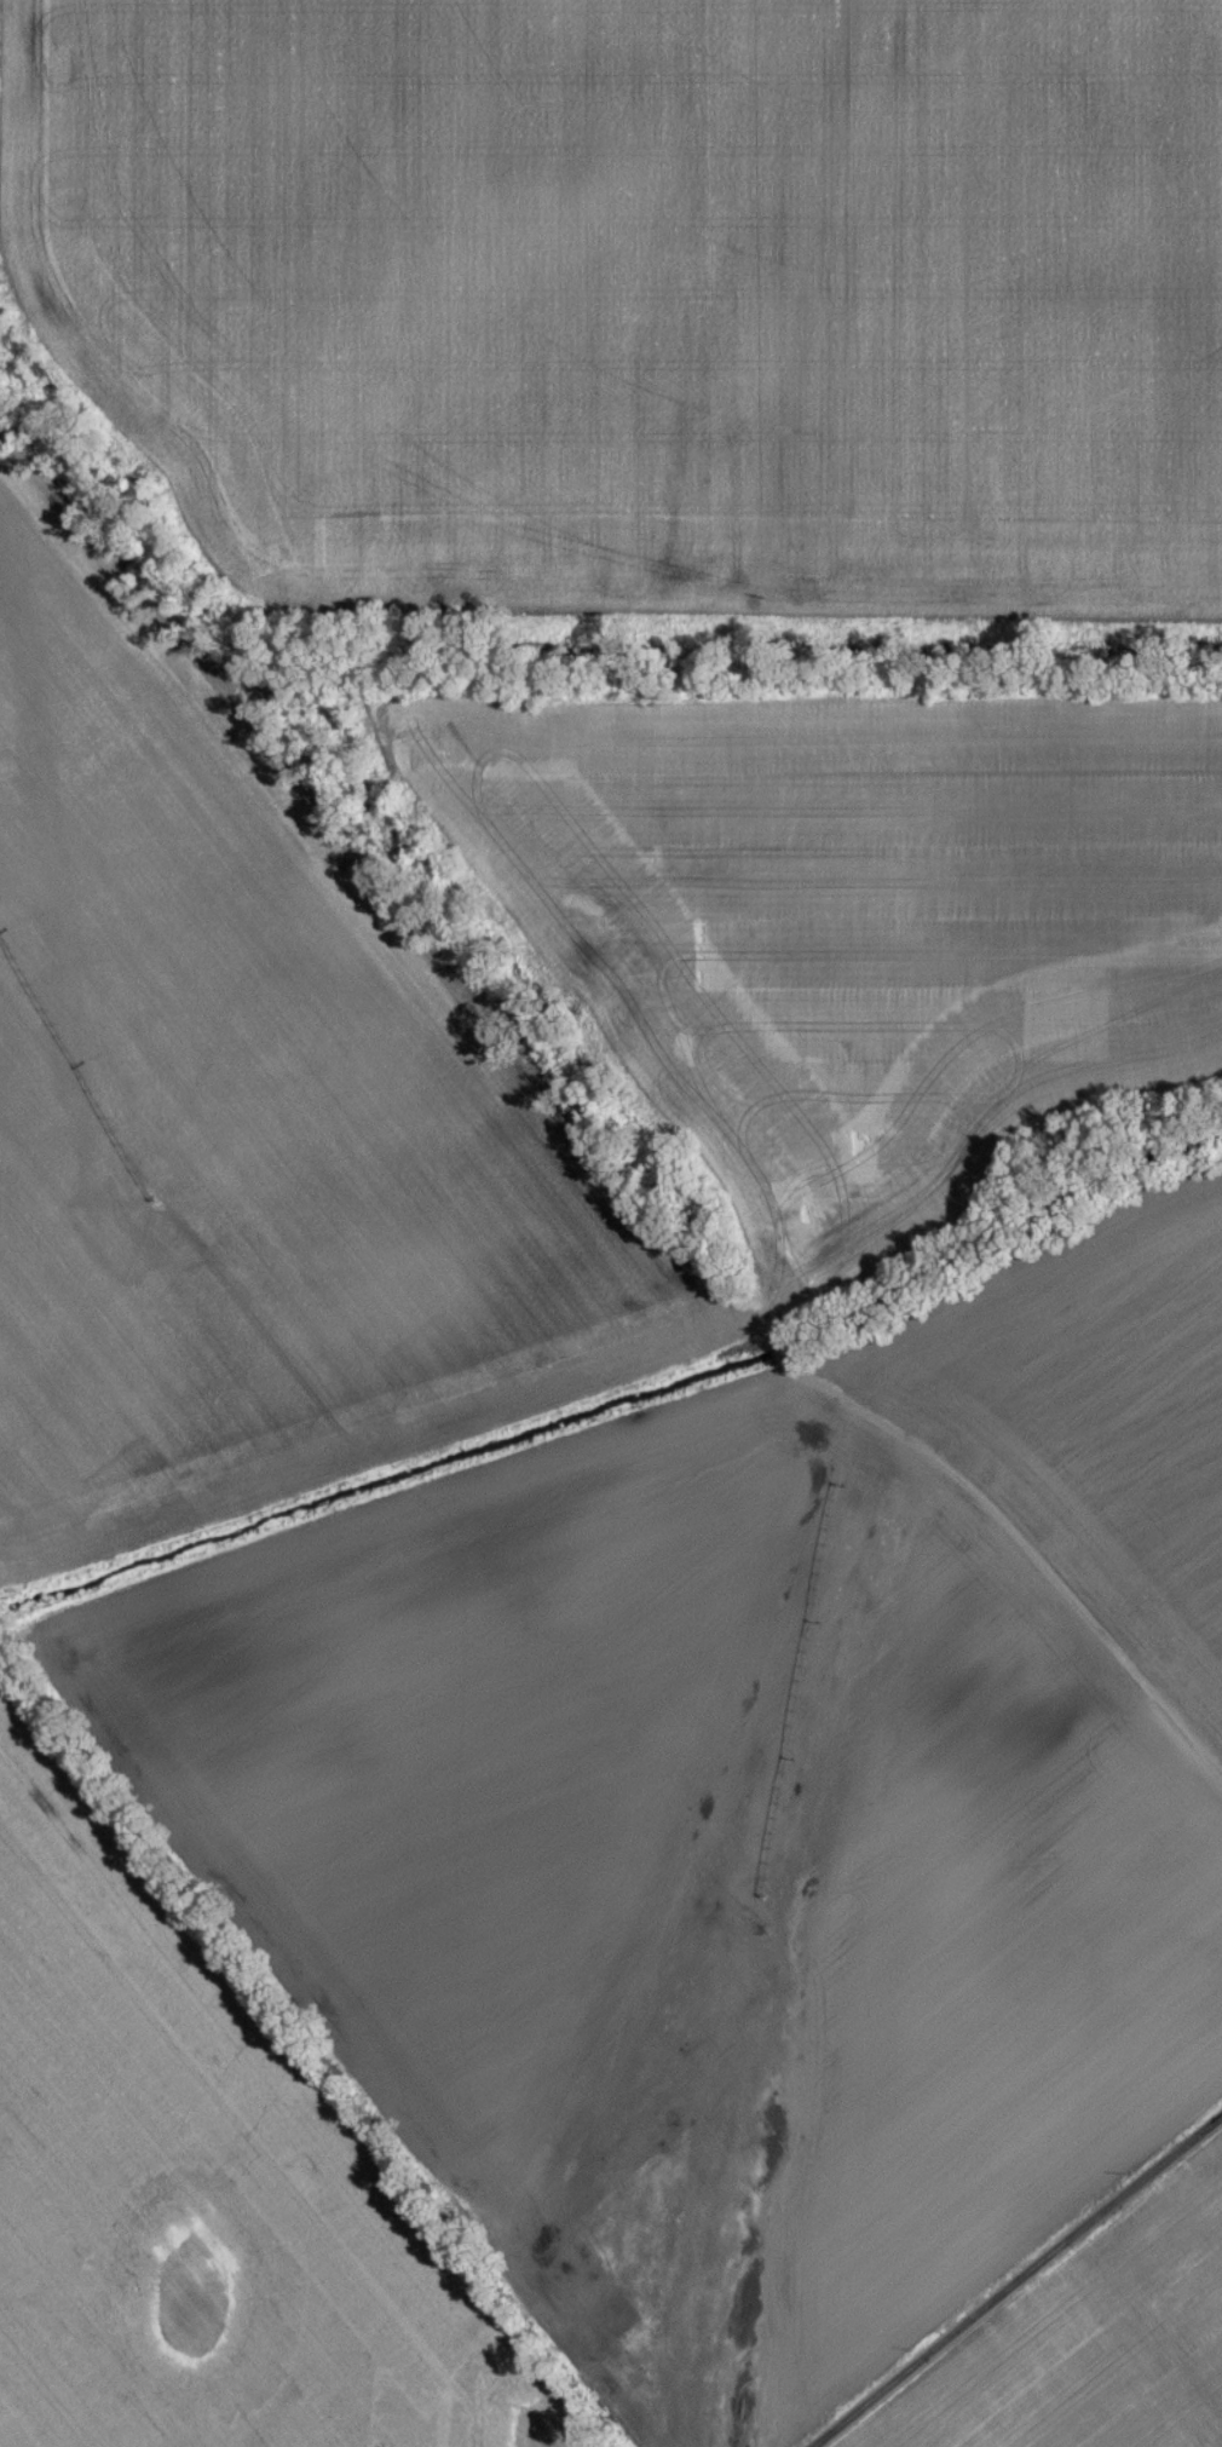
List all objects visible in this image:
road: (1031, 2290)

